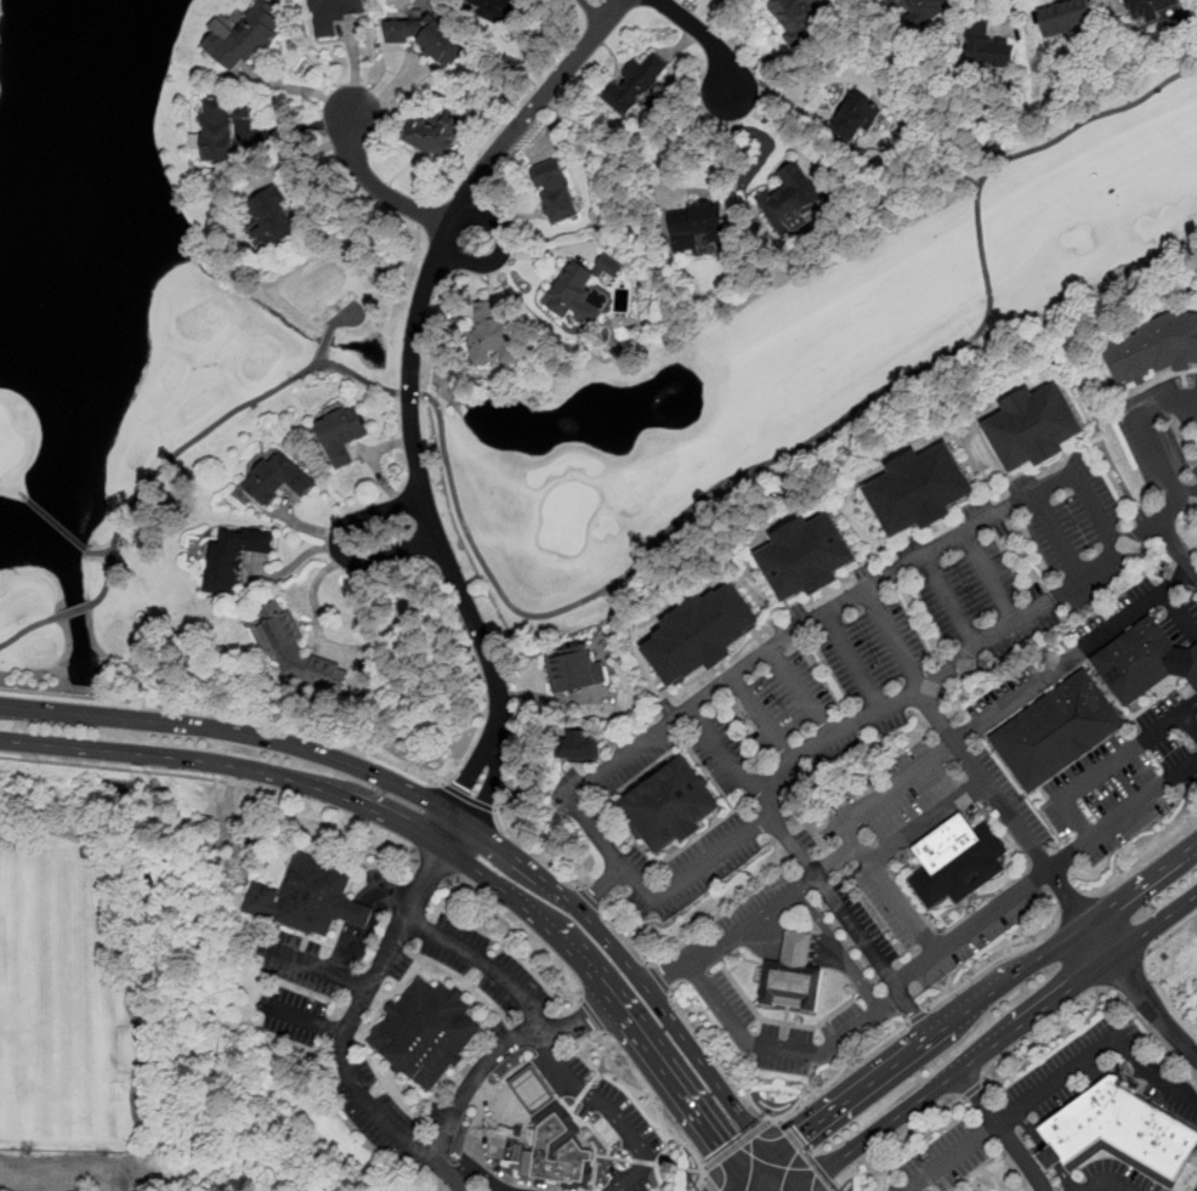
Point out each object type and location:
building: (497, 10)
road: (596, 10)
building: (1152, 10)
building: (917, 11)
building: (333, 15)
building: (789, 16)
road: (1006, 16)
building: (1066, 16)
road: (708, 36)
building: (245, 38)
building: (429, 38)
building: (986, 45)
building: (635, 84)
road: (799, 90)
building: (856, 117)
building: (223, 126)
building: (437, 132)
road: (679, 143)
road: (376, 187)
building: (556, 192)
building: (790, 197)
building: (272, 217)
building: (693, 223)
road: (501, 251)
building: (572, 290)
road: (358, 312)
building: (489, 333)
park: (221, 346)
building: (1153, 348)
road: (320, 361)
road: (410, 389)
road: (410, 391)
building: (1029, 427)
road: (206, 431)
building: (341, 435)
road: (813, 436)
road: (1151, 437)
building: (276, 478)
building: (917, 490)
road: (1060, 540)
road: (337, 546)
road: (1178, 549)
road: (98, 552)
building: (804, 557)
building: (233, 558)
road: (991, 579)
road: (952, 605)
road: (73, 611)
road: (25, 628)
building: (694, 636)
parking lot: (900, 640)
road: (896, 642)
building: (297, 650)
road: (351, 650)
road: (974, 652)
building: (1134, 663)
building: (1179, 664)
road: (856, 665)
building: (574, 669)
road: (745, 669)
building: (1192, 669)
road: (802, 693)
building: (1087, 710)
road: (227, 714)
road: (764, 720)
road: (953, 743)
building: (1037, 745)
building: (578, 749)
road: (726, 758)
road: (1113, 766)
road: (219, 779)
parking lot: (1127, 782)
road: (467, 798)
building: (663, 809)
road: (454, 816)
road: (927, 821)
road: (447, 846)
road: (535, 850)
road: (1146, 857)
building: (955, 863)
road: (432, 864)
parking lot: (847, 875)
road: (1045, 875)
road: (1055, 878)
road: (600, 889)
building: (313, 892)
road: (591, 901)
parking lot: (756, 901)
road: (1076, 908)
road: (362, 914)
road: (756, 923)
road: (850, 926)
road: (1172, 934)
road: (518, 935)
road: (628, 938)
road: (794, 948)
building: (793, 951)
road: (841, 952)
road: (992, 963)
road: (486, 966)
road: (1123, 969)
road: (323, 971)
road: (659, 980)
building: (790, 988)
road: (983, 999)
park: (49, 1002)
park: (141, 1015)
road: (594, 1015)
road: (919, 1016)
road: (356, 1017)
road: (305, 1020)
parking lot: (781, 1033)
building: (422, 1034)
road: (1046, 1039)
road: (998, 1044)
road: (784, 1049)
road: (503, 1054)
road: (722, 1065)
road: (841, 1070)
road: (1150, 1077)
road: (1050, 1084)
road: (971, 1088)
road: (527, 1089)
building: (528, 1094)
road: (658, 1110)
road: (611, 1111)
building: (1119, 1127)
road: (1003, 1130)
building: (546, 1133)
road: (484, 1134)
traffic signals: (798, 1139)
road: (739, 1144)
traffic signals: (722, 1147)
road: (903, 1152)
road: (953, 1155)
road: (806, 1157)
parking lot: (941, 1161)
building: (556, 1166)
building: (674, 1168)
road: (68, 1170)
road: (492, 1173)
road: (749, 1174)
road: (784, 1175)
road: (974, 1175)
road: (709, 1184)
road: (1110, 1185)

